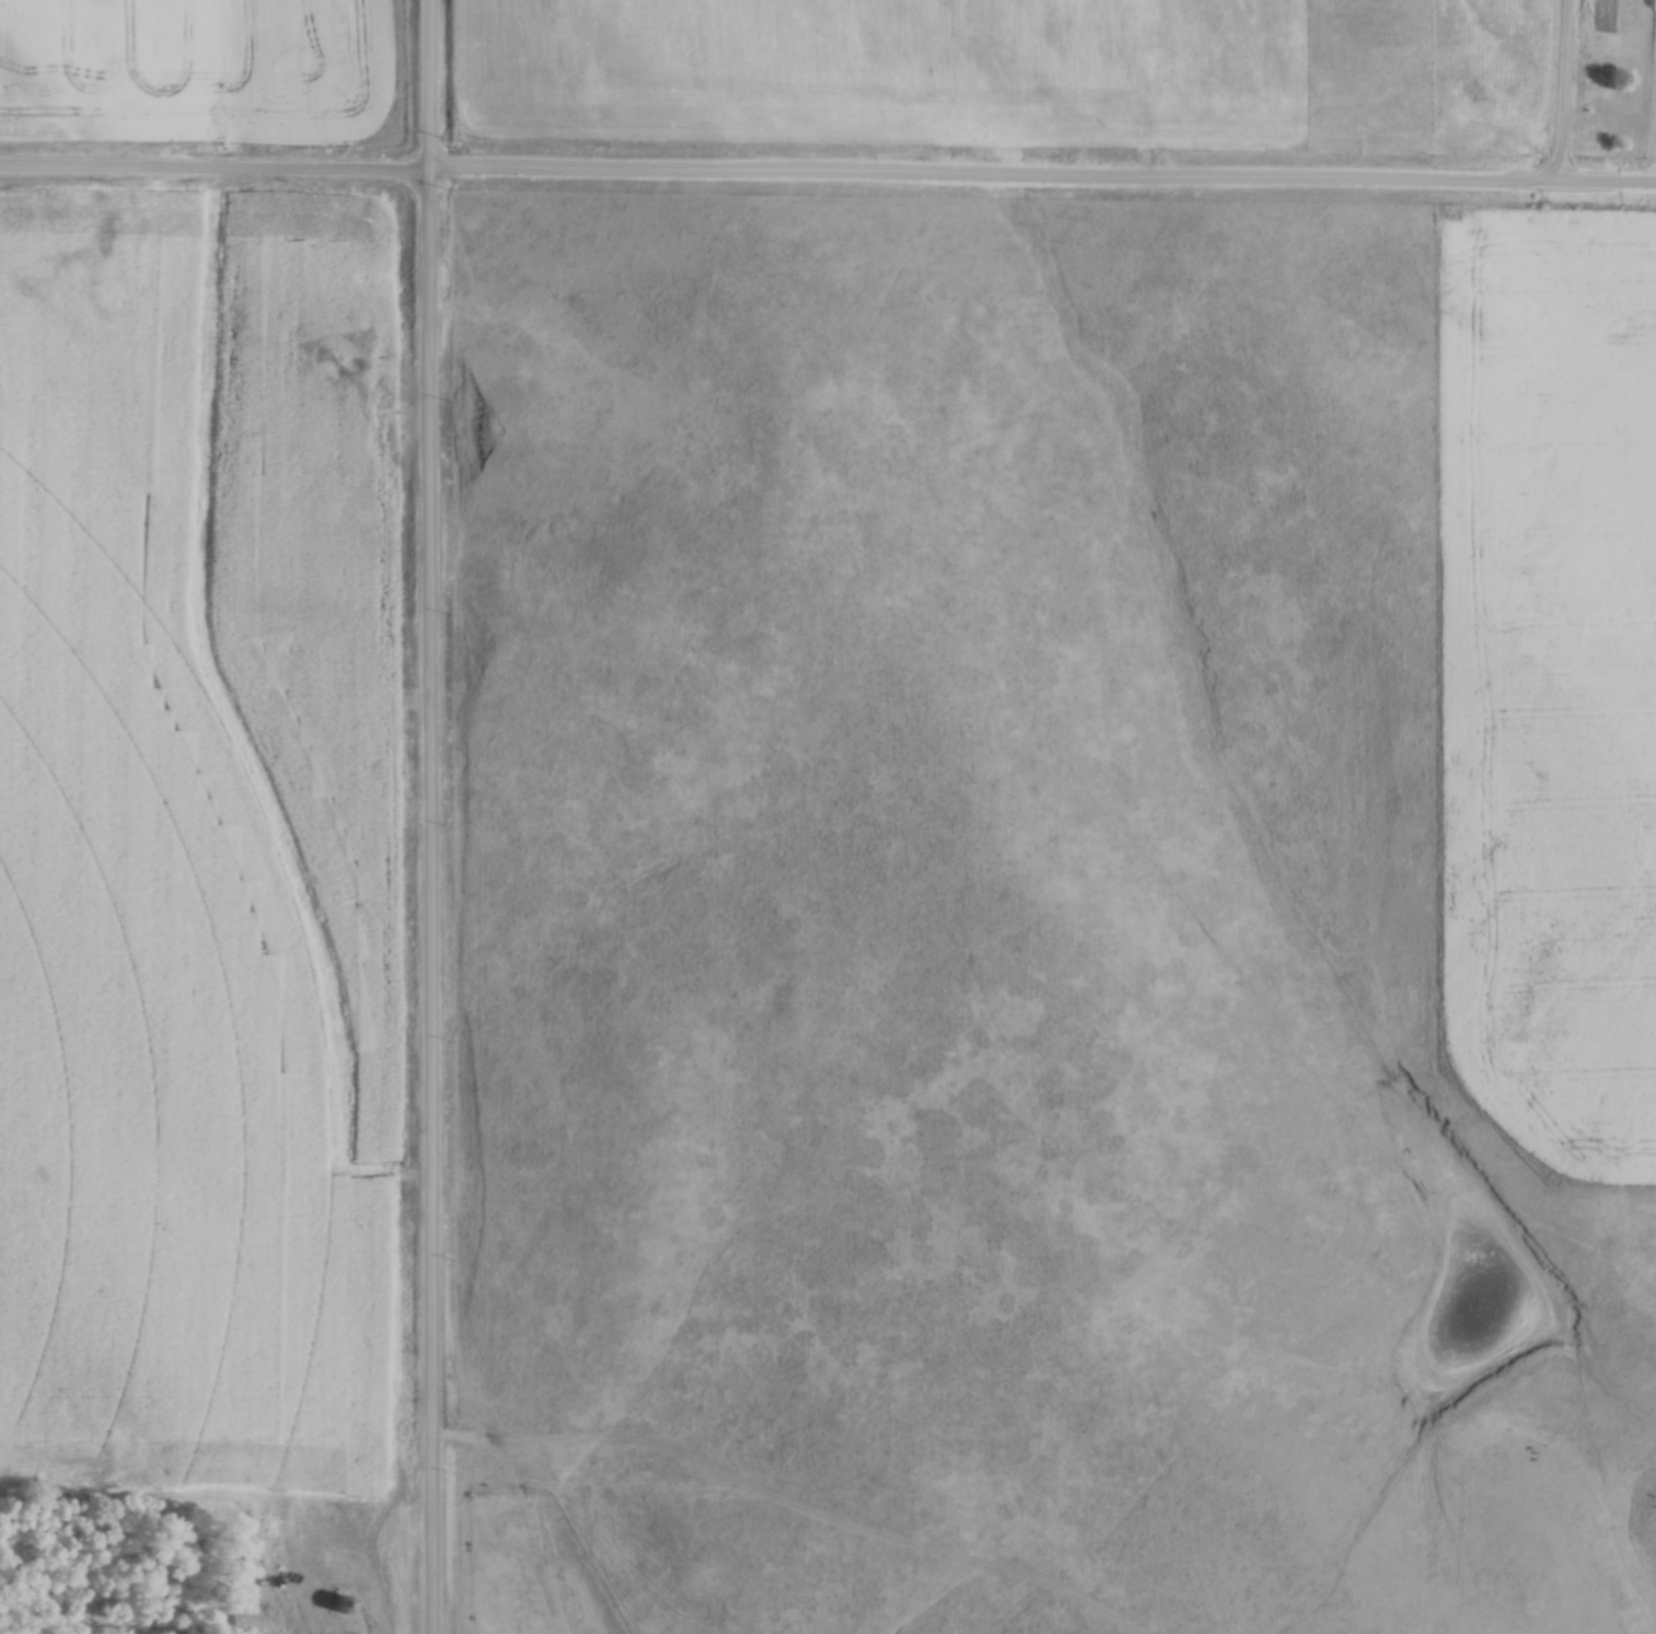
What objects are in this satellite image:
road: (1564, 93)
road: (827, 179)
road: (429, 816)
building: (340, 1604)

